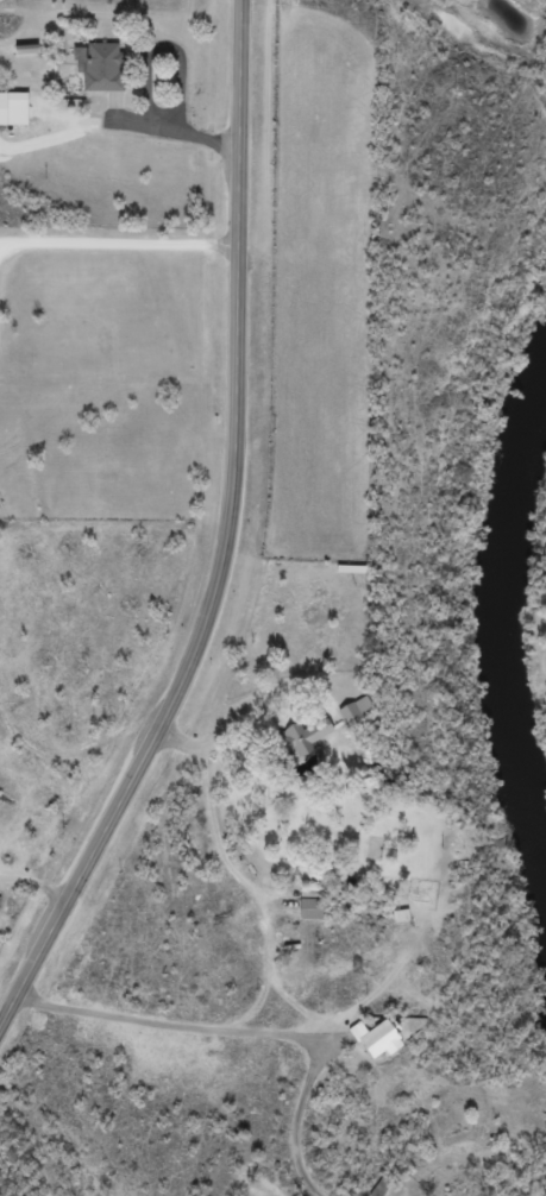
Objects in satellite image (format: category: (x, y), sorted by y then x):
building: (107, 65)
building: (15, 108)
road: (119, 243)
road: (226, 541)
building: (359, 711)
building: (310, 735)
building: (316, 906)
building: (382, 1037)

